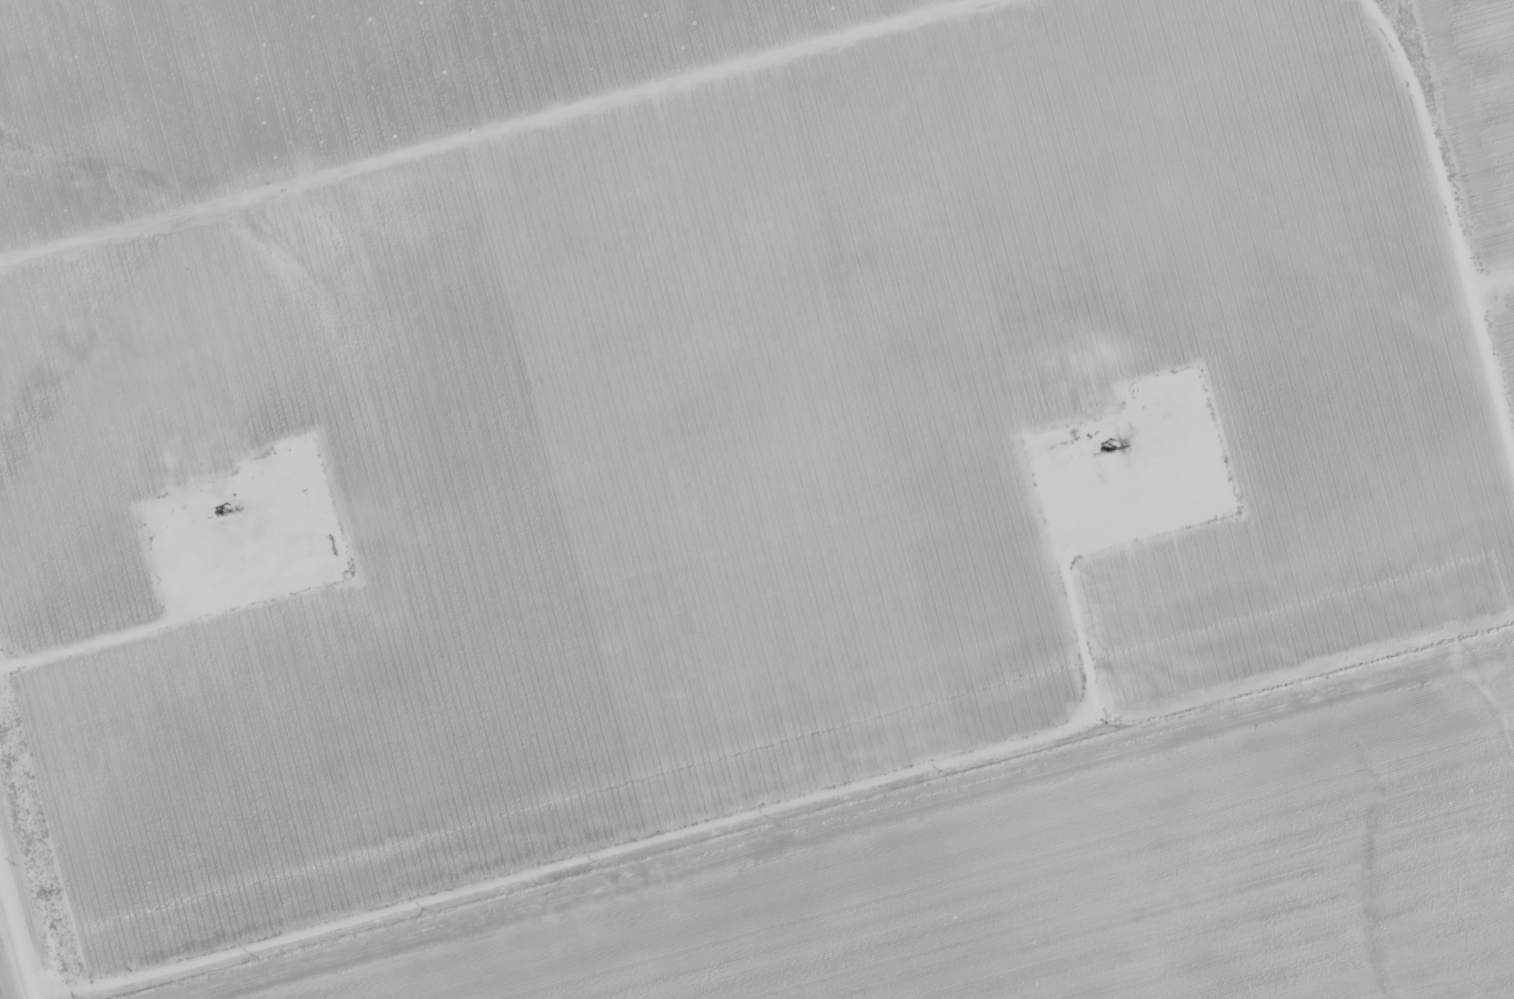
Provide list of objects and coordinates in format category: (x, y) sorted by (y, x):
road: (507, 166)
road: (1454, 227)
road: (14, 944)

